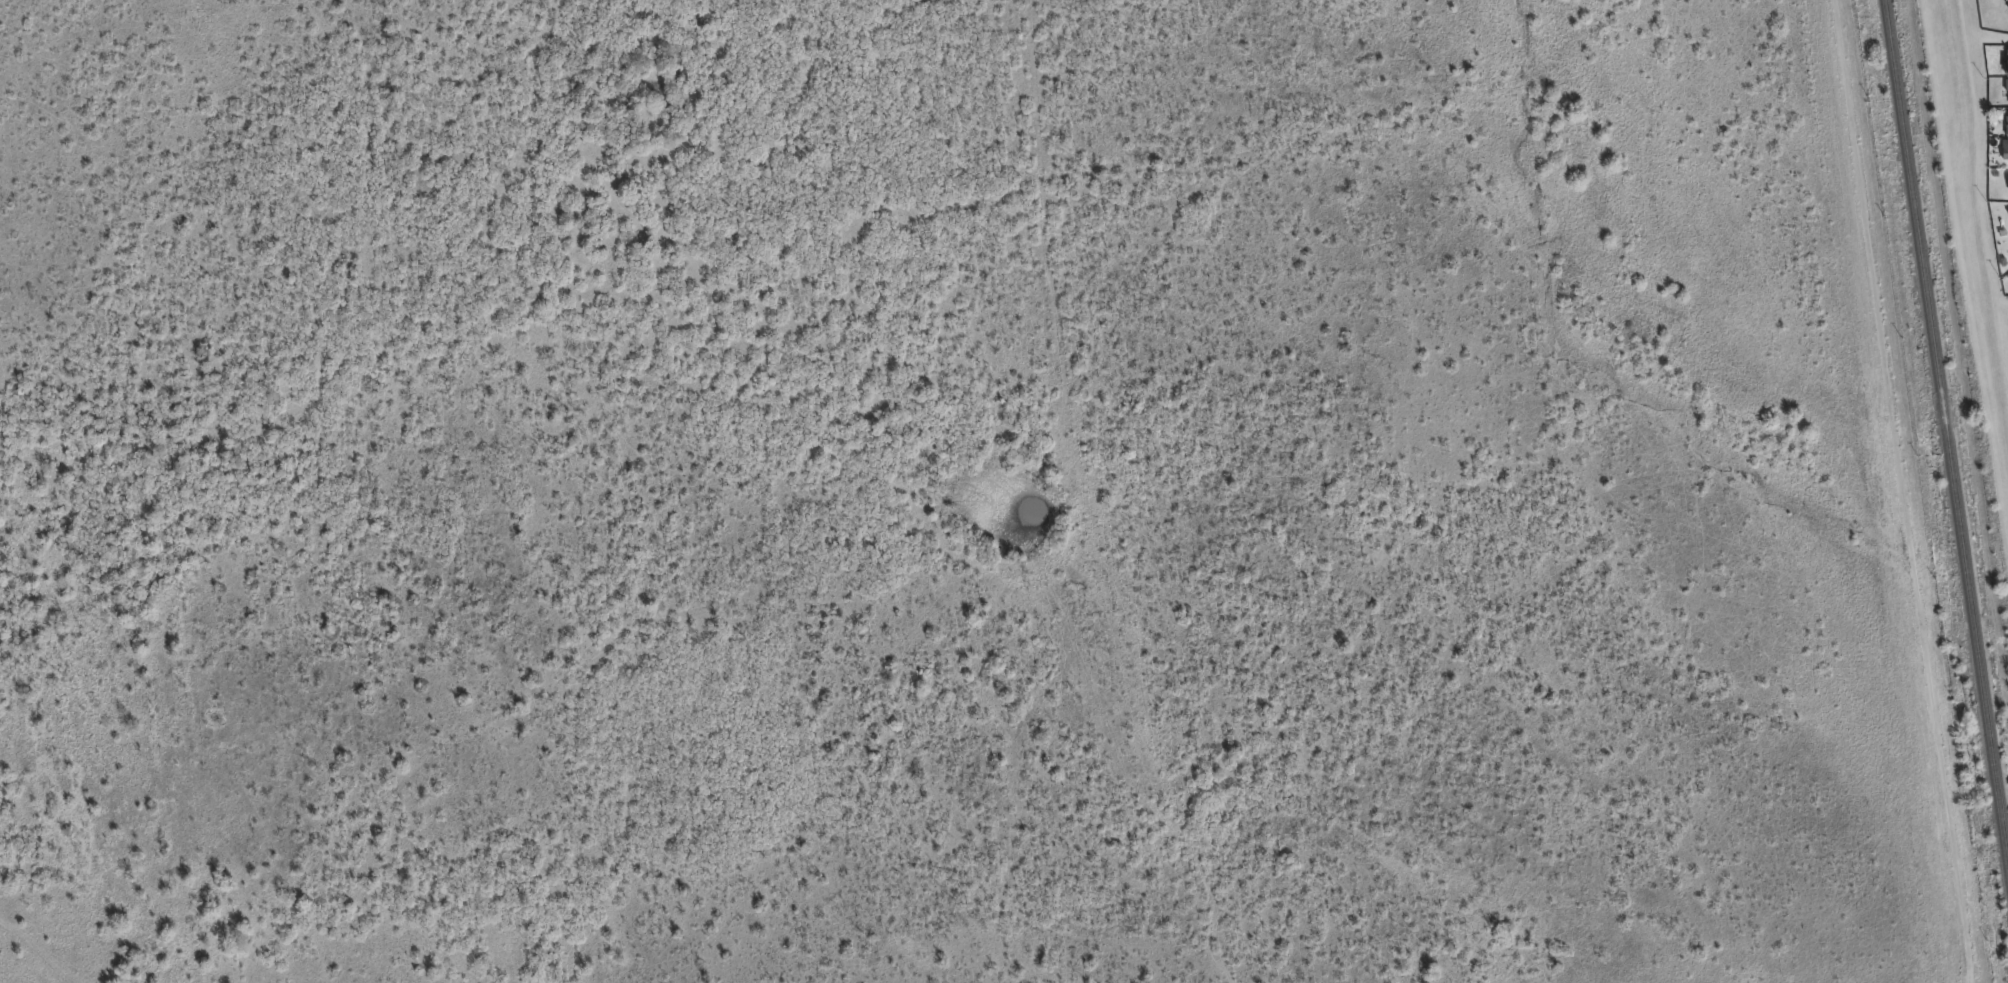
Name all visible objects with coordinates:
building: (2007, 7)
building: (2006, 62)
building: (2006, 84)
building: (2007, 92)
building: (2006, 126)
building: (2005, 149)
road: (1978, 208)
railway: (1949, 419)
road: (1897, 491)

